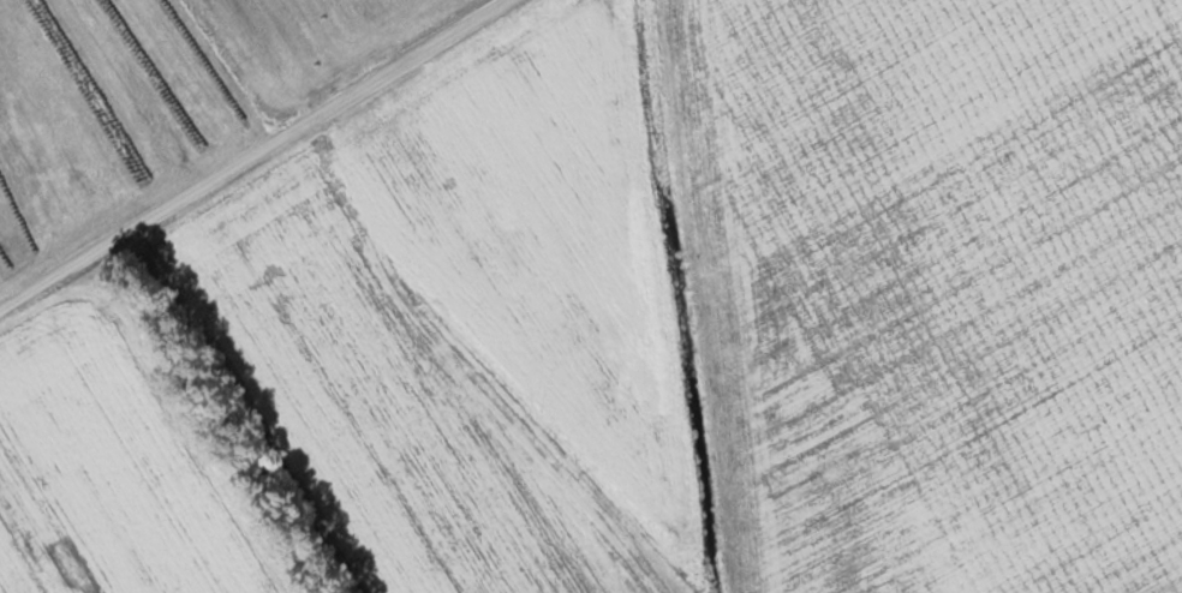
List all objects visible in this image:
road: (261, 154)

